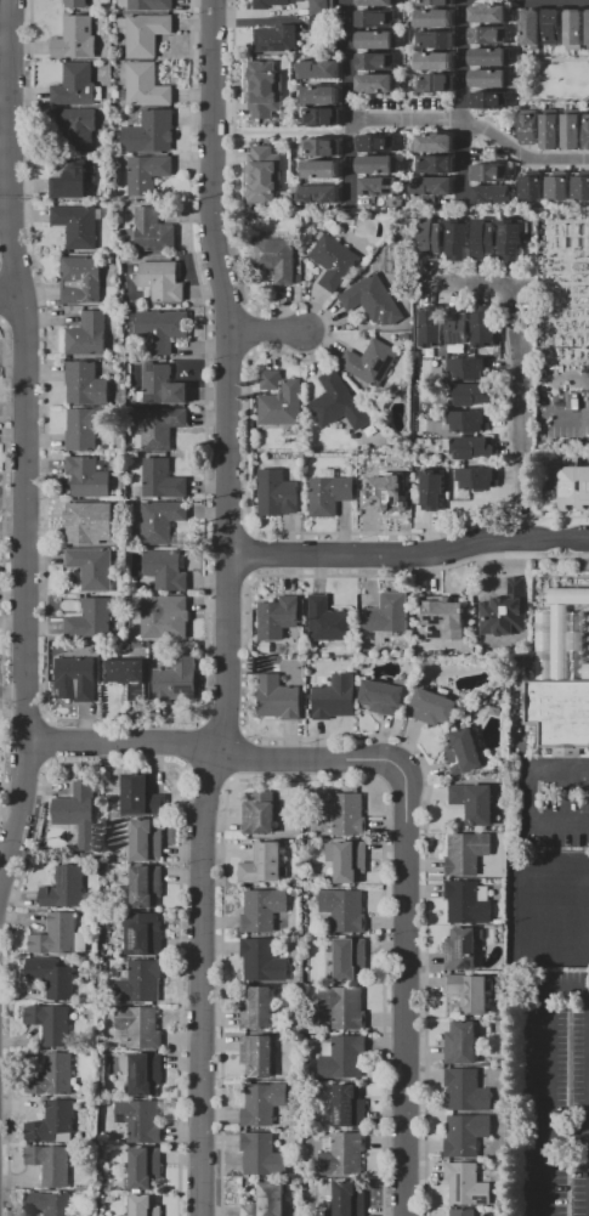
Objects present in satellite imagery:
building: (79, 4)
building: (274, 4)
building: (378, 4)
building: (438, 4)
building: (153, 5)
building: (324, 7)
building: (492, 16)
building: (378, 19)
building: (436, 19)
building: (322, 28)
building: (556, 29)
building: (587, 29)
building: (534, 30)
building: (577, 30)
building: (148, 34)
building: (492, 38)
building: (78, 40)
building: (278, 40)
building: (380, 41)
building: (438, 41)
rooftop solar panel: (276, 45)
rooftop solar panel: (264, 46)
building: (493, 58)
road: (465, 61)
building: (378, 63)
building: (436, 63)
building: (321, 70)
building: (493, 80)
building: (378, 85)
building: (438, 85)
building: (78, 86)
building: (148, 86)
building: (266, 91)
building: (323, 97)
road: (2, 100)
road: (351, 102)
building: (491, 102)
building: (324, 118)
road: (408, 121)
building: (78, 129)
building: (532, 129)
building: (553, 134)
building: (574, 134)
building: (588, 134)
building: (152, 135)
building: (378, 145)
building: (437, 145)
building: (324, 148)
road: (522, 155)
building: (380, 166)
building: (438, 166)
building: (323, 171)
building: (491, 174)
building: (149, 175)
building: (266, 177)
building: (73, 181)
building: (381, 188)
building: (534, 188)
building: (561, 188)
building: (582, 188)
building: (434, 191)
building: (319, 196)
building: (494, 196)
building: (80, 227)
rooftop solar panel: (504, 228)
building: (153, 233)
building: (512, 239)
building: (432, 241)
building: (459, 241)
building: (486, 241)
rooftop solar panel: (512, 243)
building: (277, 260)
building: (336, 264)
building: (83, 282)
building: (164, 282)
road: (7, 299)
building: (375, 302)
building: (486, 328)
building: (432, 329)
building: (165, 330)
building: (459, 330)
road: (267, 333)
building: (90, 336)
rooftop solar panel: (452, 339)
building: (373, 364)
rooftop solar panel: (378, 364)
rooftop solar panel: (149, 367)
rooftop solar panel: (381, 368)
building: (471, 371)
building: (273, 381)
road: (519, 381)
building: (89, 386)
building: (165, 388)
building: (474, 396)
rooftop solar panel: (148, 398)
building: (341, 406)
building: (284, 407)
road: (571, 414)
building: (471, 423)
building: (162, 428)
building: (89, 429)
road: (21, 432)
building: (474, 449)
building: (90, 479)
building: (480, 480)
building: (165, 482)
building: (572, 488)
building: (390, 490)
building: (434, 492)
building: (332, 494)
building: (279, 496)
building: (90, 522)
building: (163, 522)
road: (408, 555)
building: (95, 570)
building: (168, 571)
road: (225, 607)
building: (508, 612)
building: (163, 616)
building: (390, 616)
building: (279, 620)
building: (94, 621)
building: (442, 621)
building: (330, 623)
building: (80, 678)
building: (131, 678)
building: (561, 678)
building: (179, 681)
building: (389, 699)
building: (281, 700)
building: (338, 700)
building: (436, 709)
road: (315, 739)
road: (214, 751)
building: (465, 751)
road: (527, 796)
building: (143, 798)
building: (476, 804)
building: (80, 814)
building: (261, 815)
building: (347, 815)
building: (148, 843)
building: (469, 855)
building: (350, 862)
building: (265, 866)
rooftop solar panel: (64, 878)
road: (559, 878)
building: (148, 888)
building: (68, 890)
building: (470, 904)
building: (265, 911)
building: (347, 911)
building: (146, 935)
rooftop solar panel: (136, 937)
building: (62, 938)
rooftop solar panel: (148, 944)
rooftop solar panel: (457, 946)
rooftop solar panel: (465, 946)
building: (463, 951)
rooftop solar panel: (457, 955)
rooftop solar panel: (446, 956)
building: (352, 960)
building: (265, 962)
building: (55, 978)
building: (142, 984)
road: (401, 995)
building: (471, 995)
building: (346, 1008)
building: (259, 1011)
road: (546, 1024)
building: (53, 1025)
building: (141, 1029)
building: (463, 1045)
building: (260, 1057)
building: (345, 1058)
rooftop solar panel: (136, 1071)
building: (145, 1074)
building: (55, 1078)
rooftop solar panel: (145, 1079)
rooftop solar panel: (350, 1092)
building: (469, 1092)
rooftop solar panel: (346, 1103)
building: (265, 1105)
building: (351, 1108)
rooftop solar panel: (347, 1118)
rooftop solar panel: (123, 1119)
building: (143, 1122)
building: (55, 1124)
rooftop solar panel: (137, 1130)
building: (469, 1137)
road: (588, 1137)
building: (266, 1155)
building: (345, 1155)
building: (53, 1166)
building: (147, 1169)
building: (470, 1186)
rooftop solar panel: (457, 1187)
road: (588, 1188)
building: (351, 1199)
rooftop solar panel: (478, 1199)
building: (270, 1201)
building: (47, 1205)
building: (147, 1206)
building: (465, 1212)

